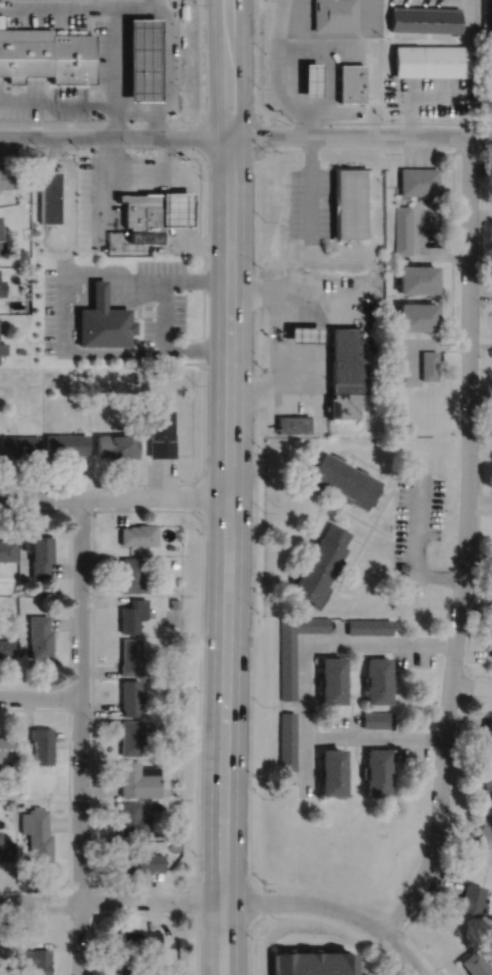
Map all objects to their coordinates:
road: (80, 6)
building: (333, 14)
building: (423, 18)
road: (230, 38)
building: (491, 41)
road: (298, 50)
building: (45, 54)
road: (115, 56)
building: (141, 57)
building: (429, 60)
road: (215, 68)
road: (241, 68)
road: (256, 75)
building: (308, 78)
road: (308, 79)
building: (350, 82)
road: (418, 92)
parking lot: (429, 93)
road: (136, 106)
road: (308, 106)
road: (229, 112)
road: (303, 114)
road: (115, 121)
road: (158, 121)
road: (378, 121)
road: (157, 123)
road: (361, 135)
road: (115, 136)
road: (191, 144)
road: (38, 149)
building: (92, 149)
road: (49, 152)
road: (167, 159)
parking lot: (418, 159)
building: (7, 177)
building: (418, 181)
road: (104, 186)
parking lot: (106, 192)
building: (48, 195)
road: (47, 196)
building: (347, 201)
road: (418, 202)
parking lot: (310, 203)
building: (175, 209)
road: (71, 211)
road: (195, 211)
building: (141, 215)
parking lot: (430, 225)
building: (402, 229)
building: (0, 240)
road: (180, 245)
road: (452, 250)
building: (19, 253)
road: (420, 253)
road: (61, 259)
road: (417, 259)
road: (203, 267)
road: (89, 270)
road: (163, 278)
building: (417, 279)
building: (0, 286)
road: (291, 286)
building: (1, 287)
road: (97, 296)
parking lot: (161, 298)
parking lot: (57, 309)
road: (255, 314)
building: (417, 317)
building: (102, 321)
building: (303, 335)
road: (312, 335)
road: (273, 339)
road: (420, 343)
road: (165, 345)
building: (2, 348)
building: (20, 350)
road: (72, 351)
parking lot: (405, 359)
building: (344, 361)
building: (428, 365)
building: (86, 371)
building: (135, 377)
road: (293, 391)
building: (340, 406)
building: (292, 424)
road: (480, 425)
building: (160, 435)
building: (64, 445)
building: (19, 446)
building: (116, 446)
road: (342, 452)
road: (414, 452)
road: (364, 463)
road: (255, 469)
building: (343, 478)
road: (320, 492)
road: (383, 492)
road: (114, 496)
road: (341, 503)
road: (376, 505)
road: (380, 508)
parking lot: (417, 511)
road: (349, 513)
road: (348, 521)
building: (139, 532)
road: (303, 537)
road: (355, 538)
road: (465, 541)
road: (305, 542)
road: (415, 543)
building: (169, 545)
building: (7, 548)
road: (350, 550)
building: (41, 554)
road: (227, 555)
building: (174, 562)
building: (320, 563)
road: (345, 564)
building: (402, 564)
road: (291, 568)
road: (342, 569)
building: (132, 574)
building: (22, 582)
building: (23, 590)
road: (329, 595)
road: (68, 597)
building: (174, 602)
building: (132, 613)
building: (369, 624)
building: (40, 635)
road: (331, 641)
building: (294, 646)
building: (6, 647)
road: (356, 654)
building: (130, 655)
parking lot: (413, 657)
building: (332, 678)
building: (379, 678)
road: (361, 683)
building: (178, 684)
road: (462, 684)
road: (471, 684)
road: (40, 696)
road: (69, 696)
building: (130, 696)
road: (477, 696)
building: (378, 718)
parking lot: (345, 722)
building: (489, 729)
road: (250, 731)
road: (80, 735)
road: (344, 736)
building: (131, 737)
building: (287, 740)
building: (6, 744)
building: (42, 744)
parking lot: (413, 749)
building: (177, 755)
building: (21, 756)
building: (331, 770)
building: (379, 771)
building: (139, 779)
building: (487, 780)
building: (4, 788)
road: (69, 798)
building: (19, 802)
building: (9, 804)
building: (132, 820)
building: (173, 829)
building: (484, 831)
building: (38, 833)
building: (124, 845)
road: (444, 847)
building: (7, 849)
building: (142, 861)
road: (196, 873)
road: (223, 876)
building: (470, 898)
road: (111, 899)
road: (184, 899)
road: (334, 906)
road: (35, 911)
road: (160, 913)
road: (341, 925)
building: (140, 940)
road: (68, 942)
building: (5, 949)
road: (249, 951)
building: (34, 960)
building: (314, 962)
building: (475, 964)
building: (127, 972)
parking lot: (362, 972)
parking lot: (381, 973)

